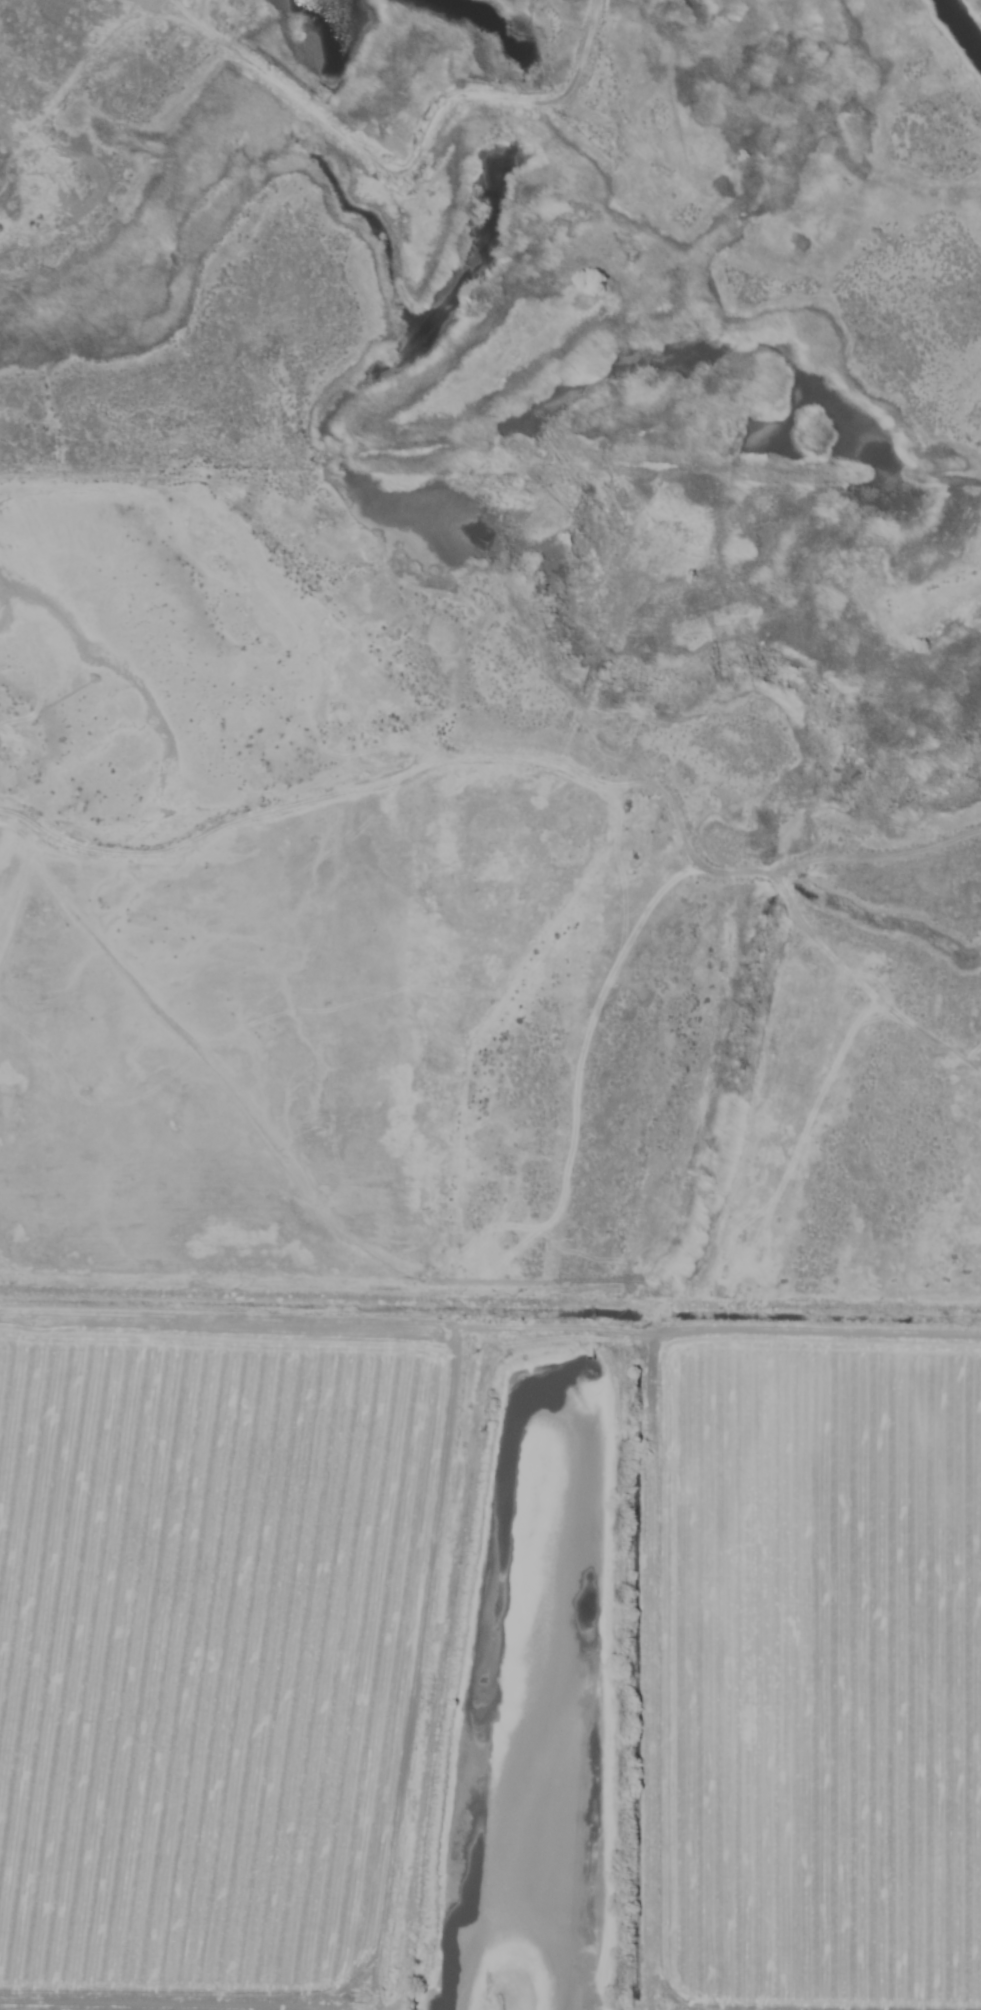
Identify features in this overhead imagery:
road: (490, 1328)
crop: (210, 1634)
crop: (811, 1659)

